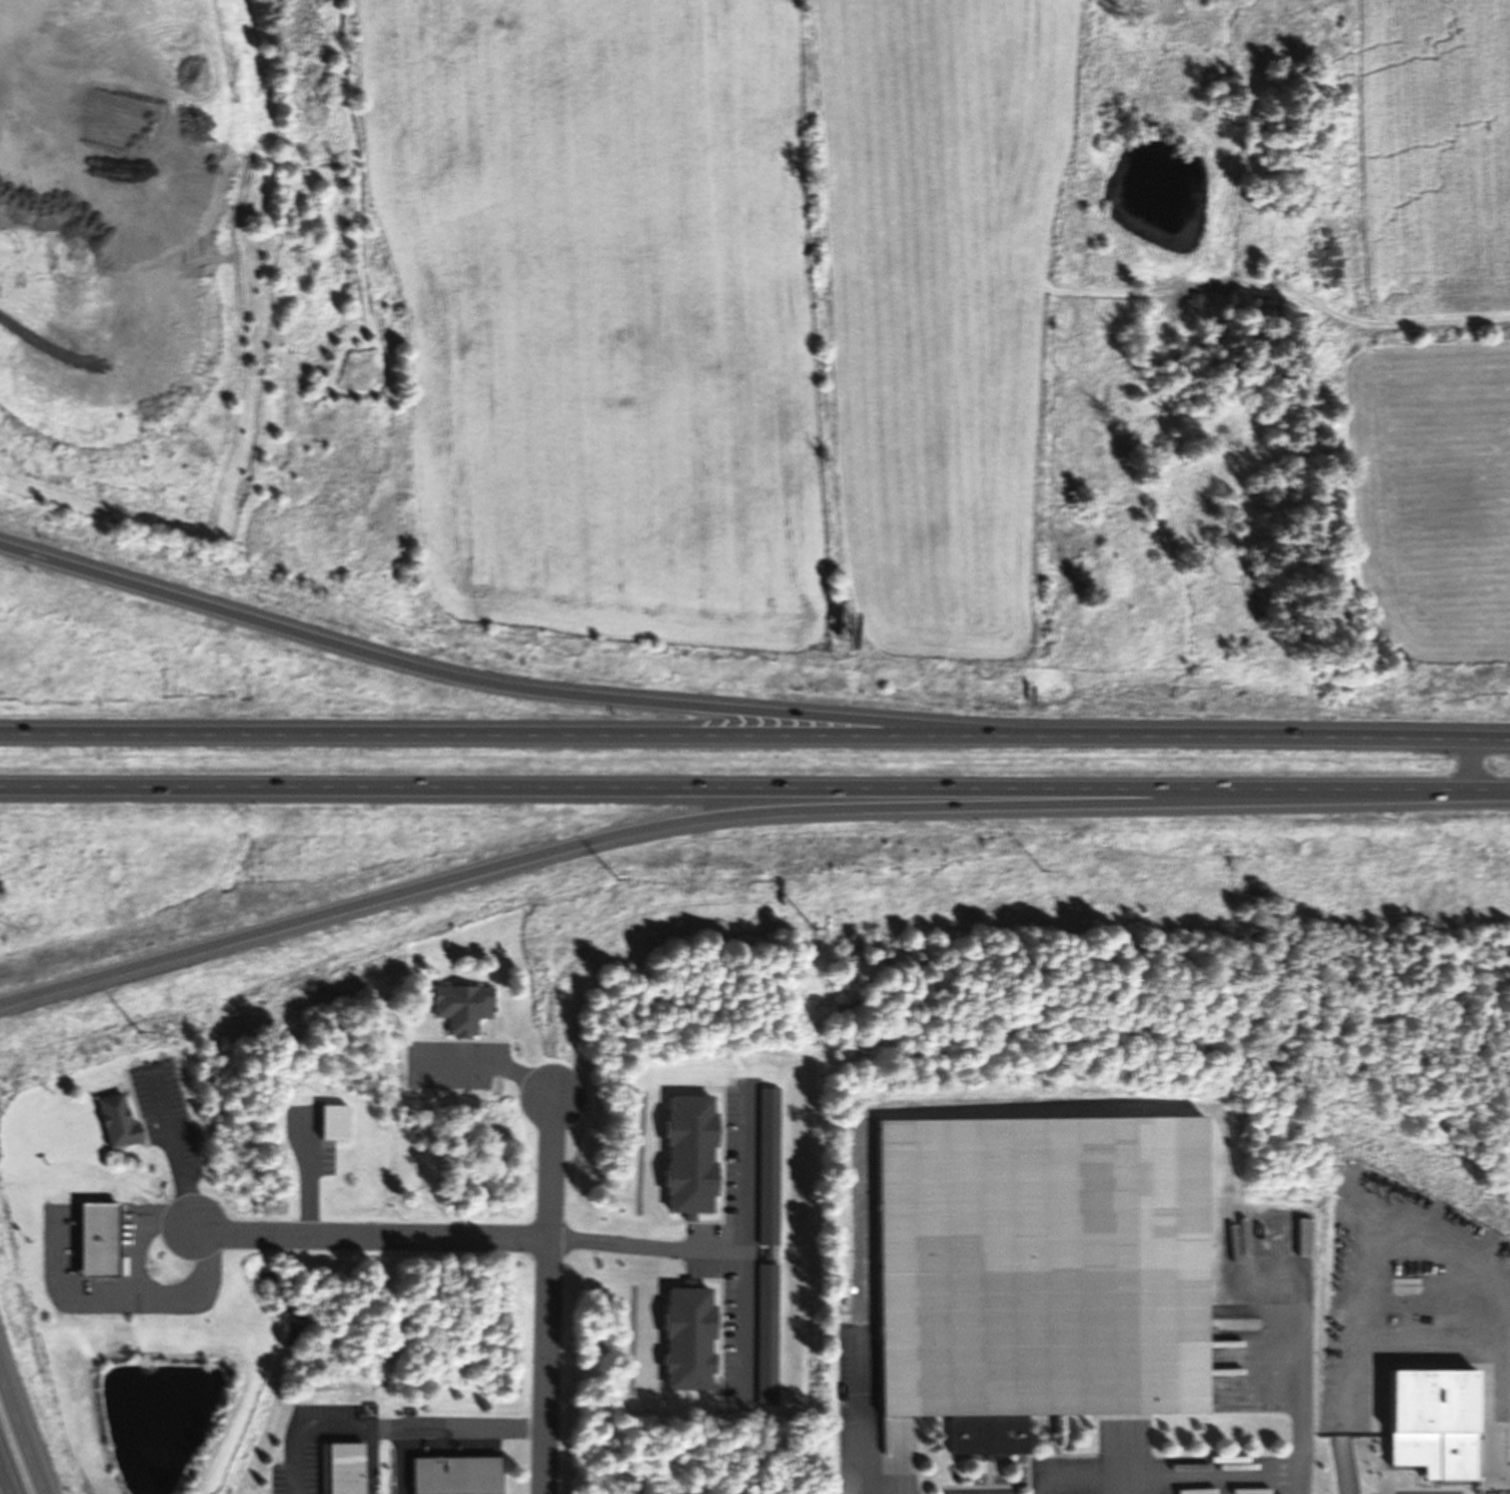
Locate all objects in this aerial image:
building: (1191, 299)
road: (492, 680)
road: (755, 734)
road: (754, 790)
power tower: (1040, 867)
power tower: (614, 877)
road: (421, 888)
power tower: (137, 1028)
parking lot: (157, 1099)
building: (113, 1119)
road: (175, 1148)
road: (368, 1230)
building: (96, 1239)
building: (1040, 1259)
road: (549, 1291)
road: (136, 1294)
road: (20, 1437)
building: (340, 1468)
building: (454, 1475)
road: (3, 1485)

